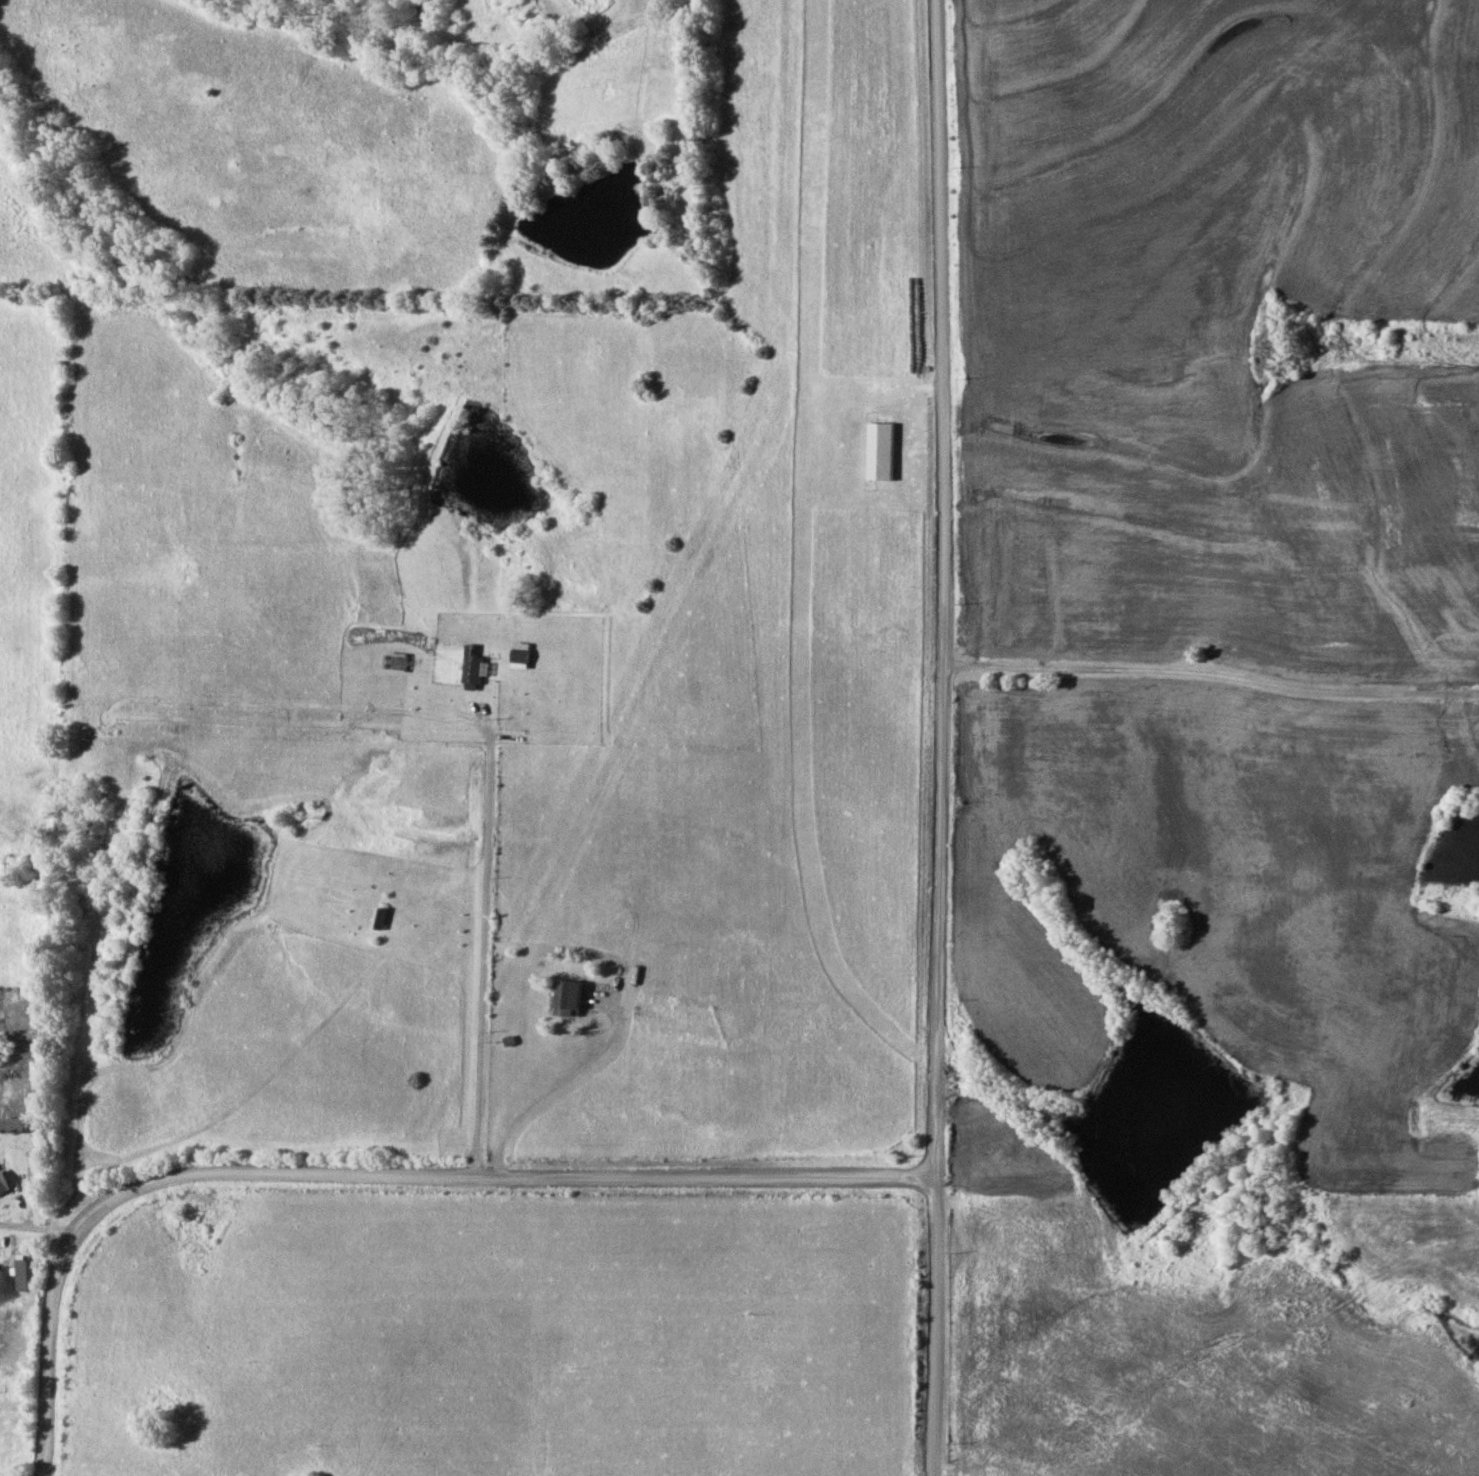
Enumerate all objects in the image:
building: (884, 450)
road: (938, 587)
road: (1208, 673)
road: (483, 940)
building: (573, 998)
road: (575, 1079)
road: (372, 1174)
building: (5, 1183)
building: (24, 1275)
road: (933, 1326)

